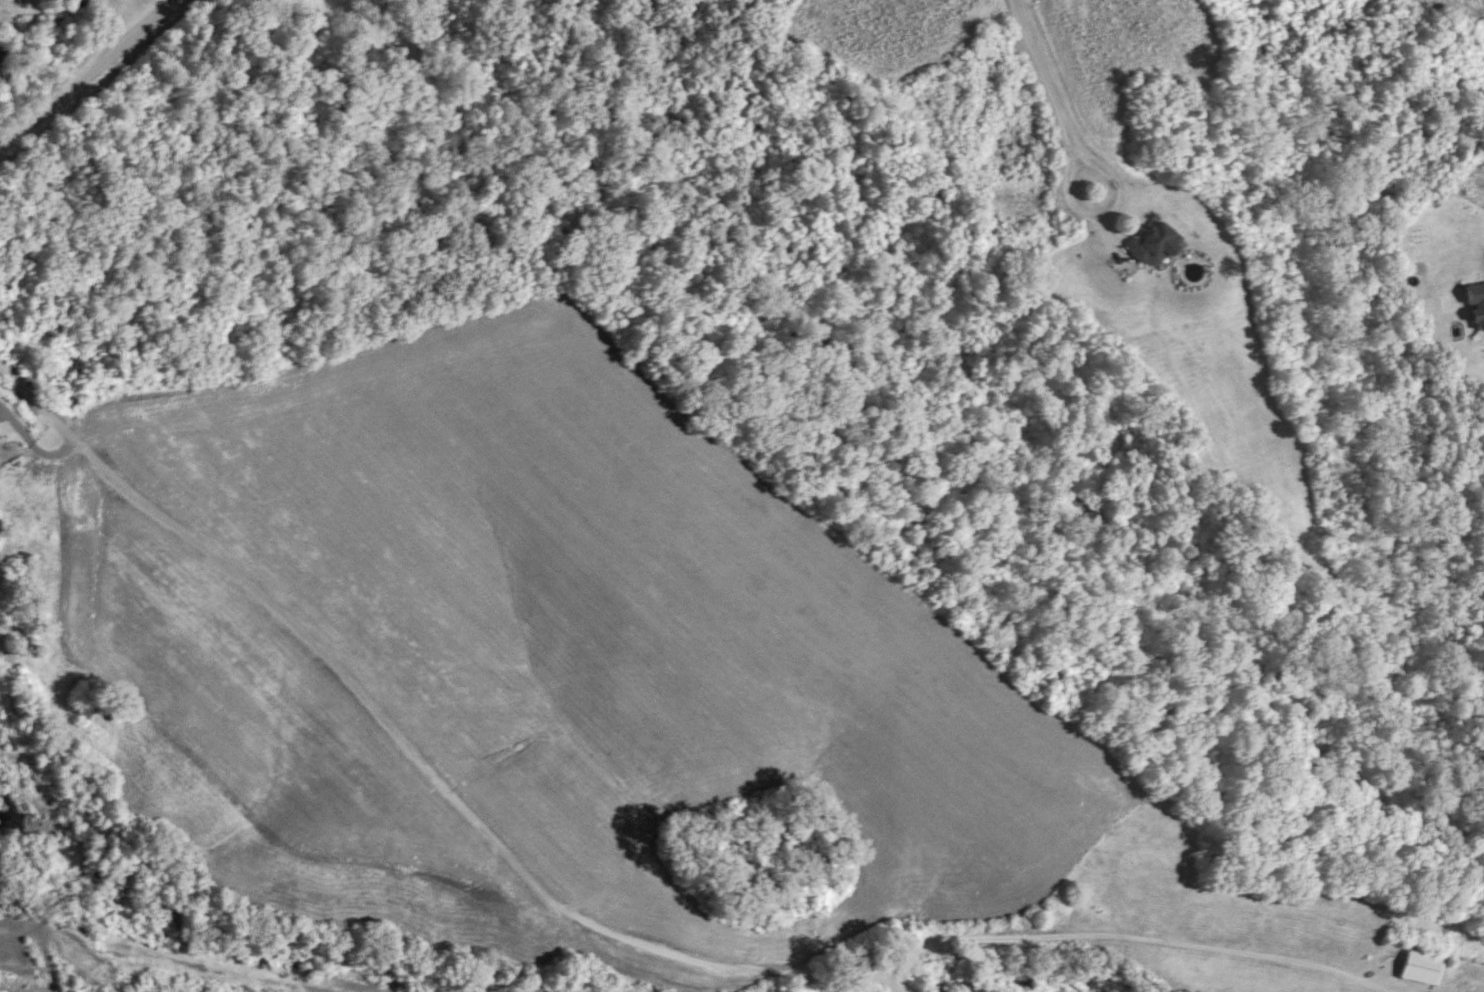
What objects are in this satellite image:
building: (1, 52)
road: (87, 71)
road: (1046, 73)
road: (1082, 205)
building: (1153, 242)
road: (1407, 260)
building: (1477, 303)
building: (85, 706)
quarry: (31, 821)
road: (525, 877)
road: (160, 956)
road: (1309, 963)
building: (1419, 968)
road: (888, 984)

